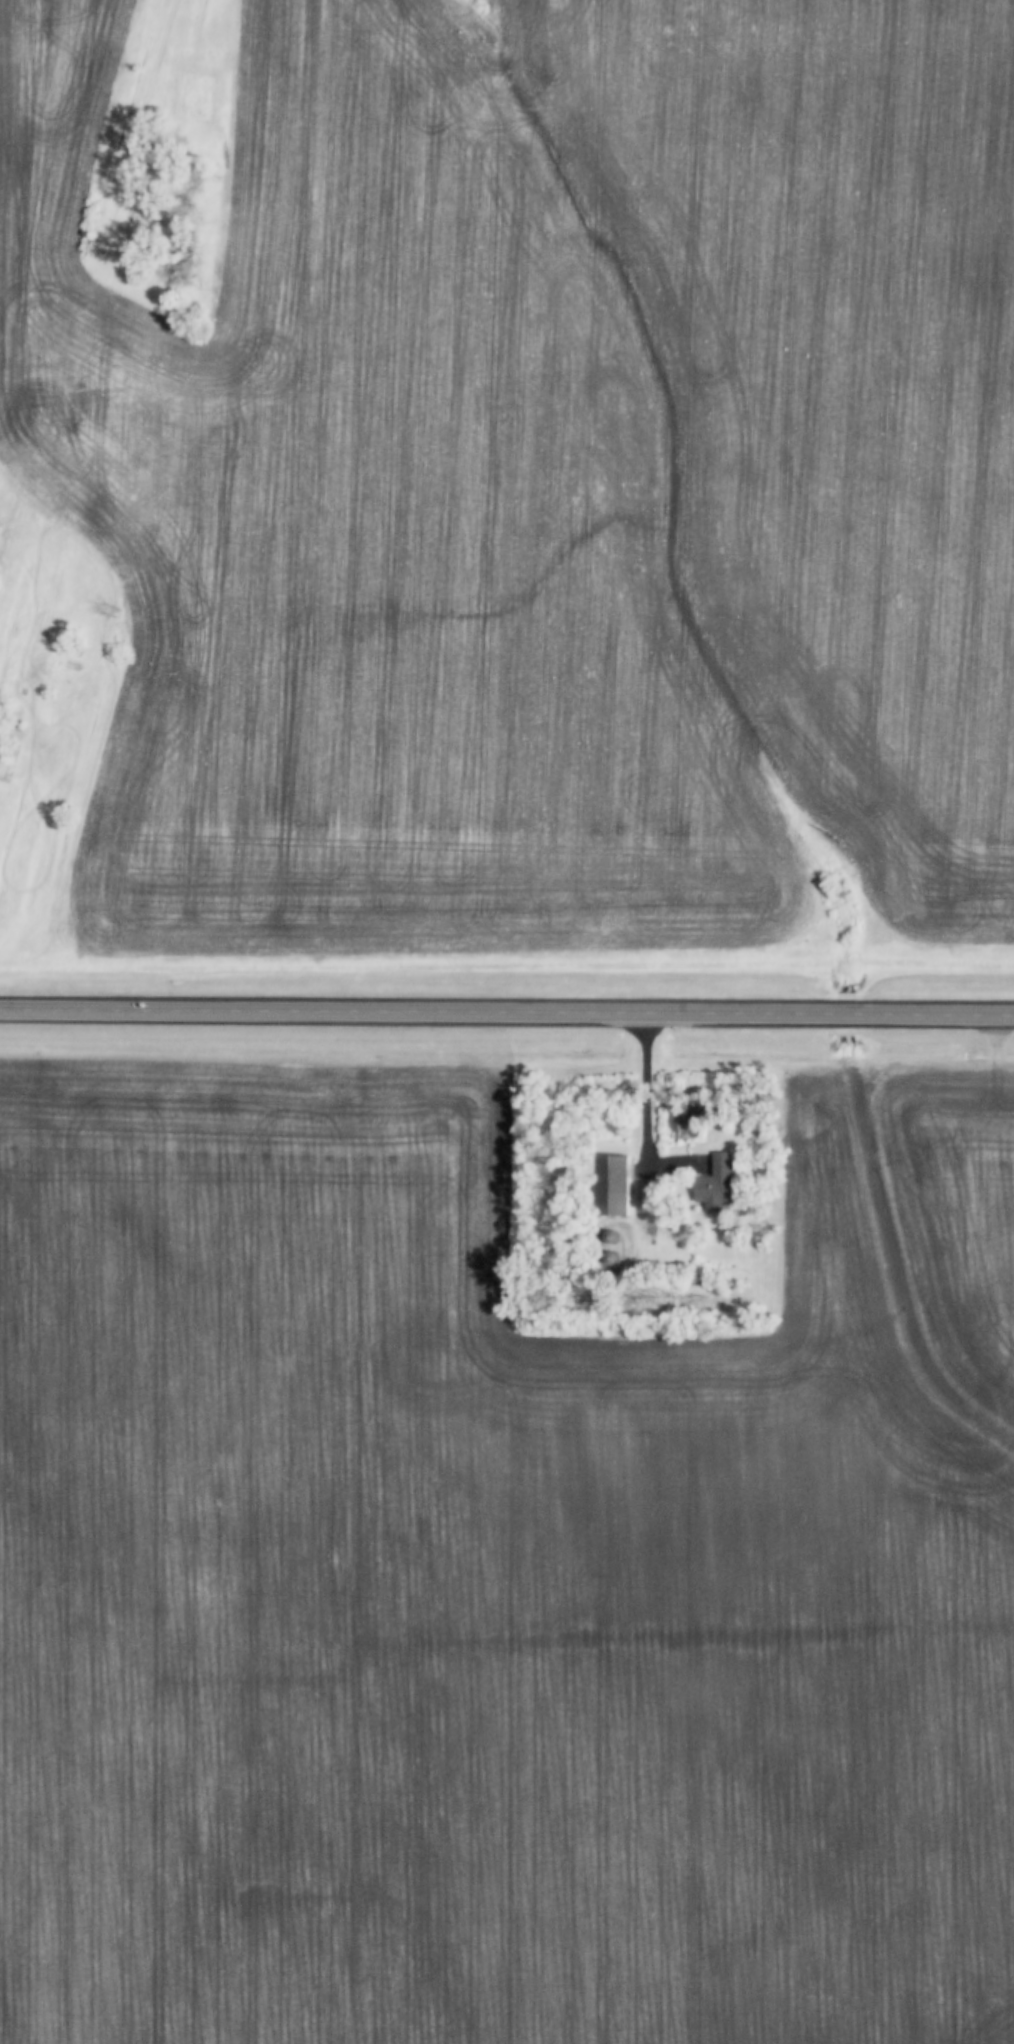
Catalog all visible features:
crop: (544, 472)
road: (507, 1011)
road: (647, 1122)

